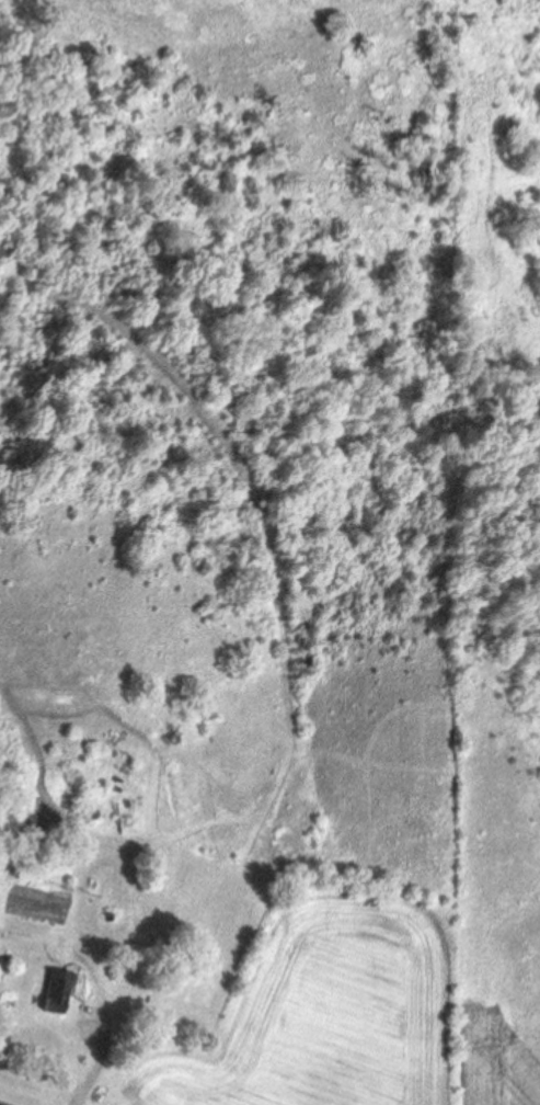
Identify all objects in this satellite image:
building: (55, 992)
road: (106, 1025)

